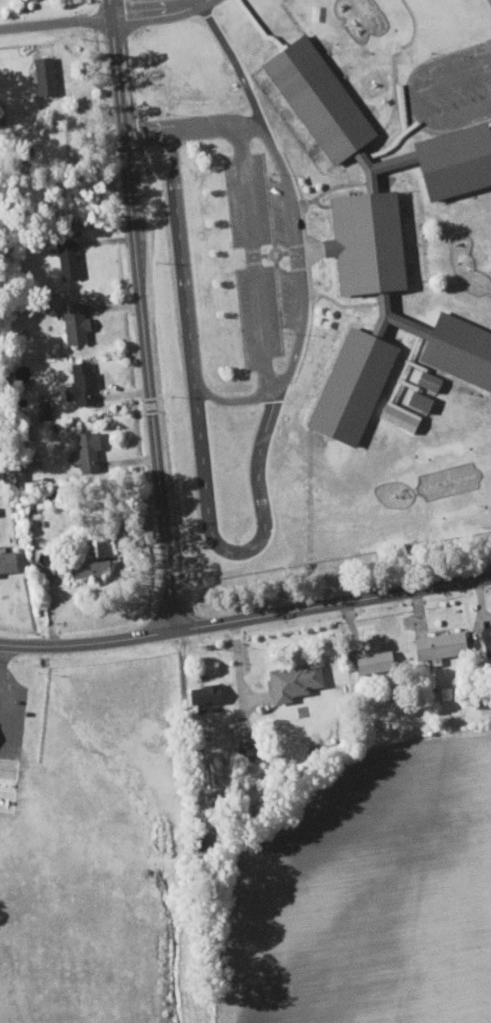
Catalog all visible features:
road: (155, 8)
road: (56, 20)
building: (42, 74)
building: (310, 90)
road: (422, 97)
building: (65, 258)
road: (142, 314)
building: (73, 322)
road: (298, 353)
building: (426, 380)
building: (78, 384)
building: (418, 400)
building: (42, 410)
building: (399, 416)
building: (87, 558)
building: (6, 561)
road: (246, 616)
building: (485, 639)
building: (437, 644)
building: (372, 662)
building: (291, 681)
building: (202, 693)
building: (243, 734)
building: (243, 750)

